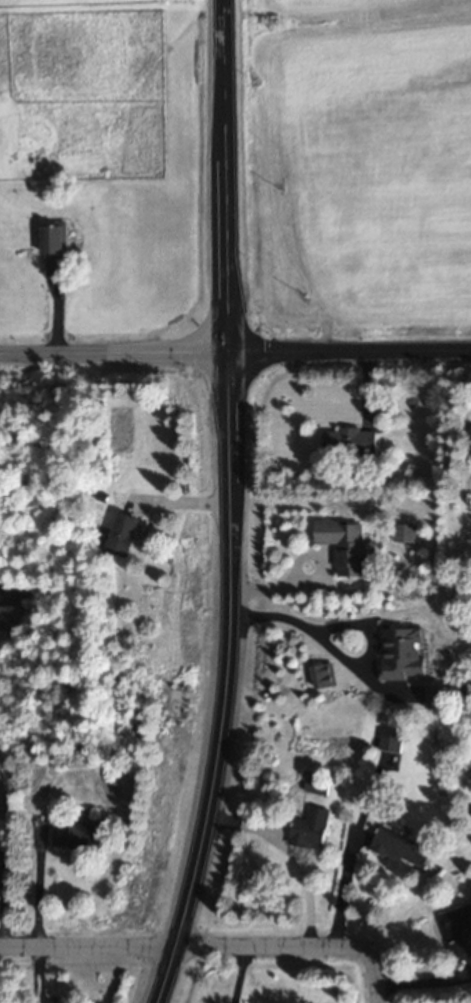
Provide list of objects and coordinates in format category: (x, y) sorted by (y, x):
building: (56, 248)
road: (235, 350)
building: (351, 444)
road: (177, 501)
road: (230, 505)
building: (124, 536)
building: (406, 537)
building: (347, 547)
road: (297, 565)
building: (10, 620)
building: (407, 656)
road: (345, 659)
building: (318, 788)
building: (312, 831)
building: (82, 838)
building: (402, 850)
road: (291, 854)
road: (39, 882)
road: (345, 892)
building: (458, 934)
road: (179, 948)
road: (240, 975)
road: (370, 975)
road: (423, 984)

